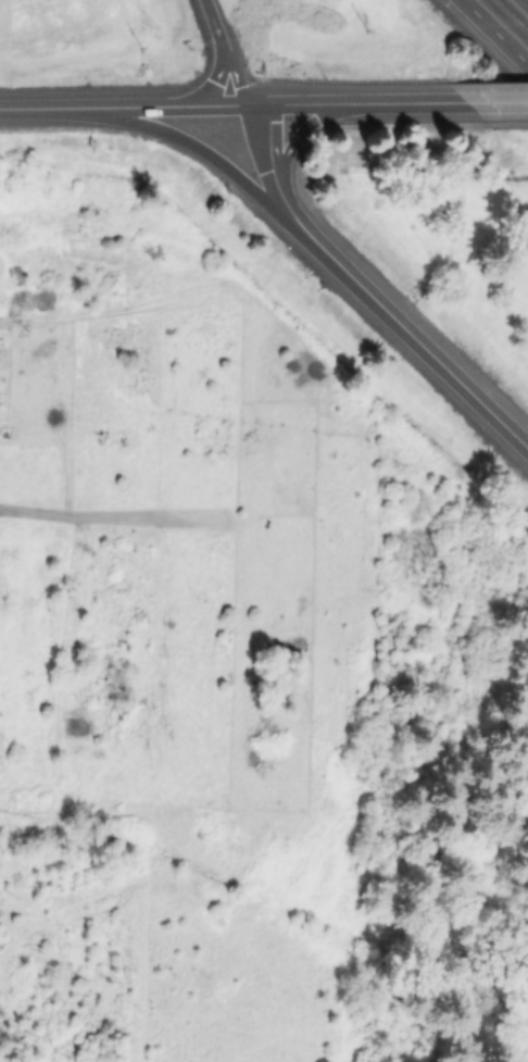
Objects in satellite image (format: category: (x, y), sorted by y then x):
road: (526, 1)
road: (494, 33)
road: (222, 52)
road: (495, 101)
road: (364, 103)
road: (184, 107)
road: (50, 108)
road: (309, 129)
road: (208, 154)
road: (273, 170)
road: (414, 339)

